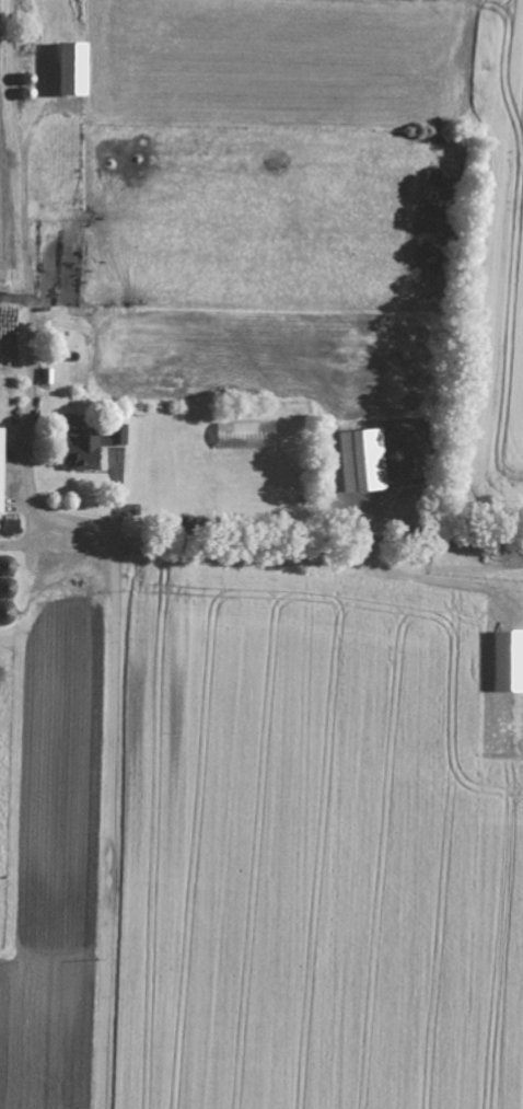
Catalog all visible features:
building: (63, 68)
road: (30, 339)
building: (112, 431)
building: (72, 450)
building: (356, 458)
building: (5, 524)
building: (503, 659)
road: (111, 783)

